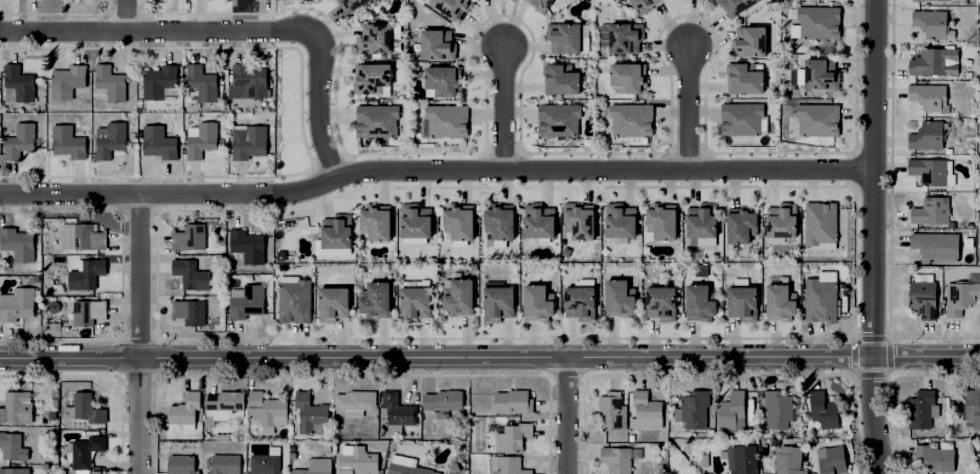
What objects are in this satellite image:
building: (499, 0)
building: (930, 0)
building: (640, 3)
building: (349, 5)
building: (536, 5)
building: (735, 6)
building: (453, 7)
road: (124, 16)
building: (817, 22)
building: (934, 24)
road: (235, 33)
building: (565, 40)
building: (622, 40)
building: (749, 41)
building: (433, 46)
building: (372, 47)
building: (932, 60)
building: (817, 76)
building: (742, 79)
building: (624, 80)
building: (159, 81)
building: (250, 81)
building: (68, 82)
building: (561, 82)
building: (111, 83)
building: (202, 83)
building: (368, 83)
building: (18, 85)
building: (439, 85)
building: (933, 94)
road: (500, 106)
road: (688, 108)
building: (815, 118)
building: (558, 119)
building: (628, 119)
building: (741, 119)
building: (443, 125)
building: (372, 127)
building: (928, 133)
building: (111, 140)
building: (203, 141)
building: (20, 142)
building: (68, 143)
building: (160, 143)
building: (251, 143)
building: (945, 151)
building: (931, 168)
road: (433, 171)
building: (932, 207)
building: (457, 219)
building: (662, 219)
building: (499, 220)
building: (577, 221)
building: (701, 221)
building: (780, 221)
building: (374, 222)
building: (538, 222)
building: (620, 222)
building: (740, 223)
building: (414, 224)
building: (817, 229)
building: (334, 234)
road: (868, 237)
building: (86, 238)
building: (190, 239)
building: (412, 242)
building: (699, 242)
building: (931, 243)
building: (18, 246)
building: (248, 248)
building: (88, 275)
building: (192, 277)
building: (963, 292)
building: (455, 295)
building: (615, 296)
building: (926, 296)
building: (292, 297)
building: (372, 297)
building: (330, 298)
building: (577, 299)
building: (412, 300)
building: (534, 300)
building: (699, 300)
building: (743, 300)
building: (495, 301)
building: (780, 301)
building: (661, 302)
building: (248, 303)
building: (19, 306)
building: (818, 307)
building: (190, 313)
building: (88, 314)
road: (140, 334)
road: (490, 362)
building: (441, 398)
building: (510, 398)
building: (353, 399)
building: (222, 400)
building: (14, 404)
building: (264, 405)
building: (776, 405)
building: (920, 406)
building: (972, 406)
building: (83, 407)
building: (646, 407)
building: (692, 407)
building: (822, 407)
building: (183, 408)
building: (395, 408)
building: (609, 408)
building: (731, 410)
building: (308, 411)
building: (67, 413)
road: (568, 418)
building: (504, 433)
building: (11, 443)
building: (83, 448)
building: (931, 455)
building: (618, 457)
building: (355, 458)
building: (741, 458)
building: (785, 459)
building: (830, 459)
building: (264, 461)
building: (180, 462)
building: (222, 462)
building: (313, 465)
building: (509, 465)
building: (406, 468)
building: (13, 470)

